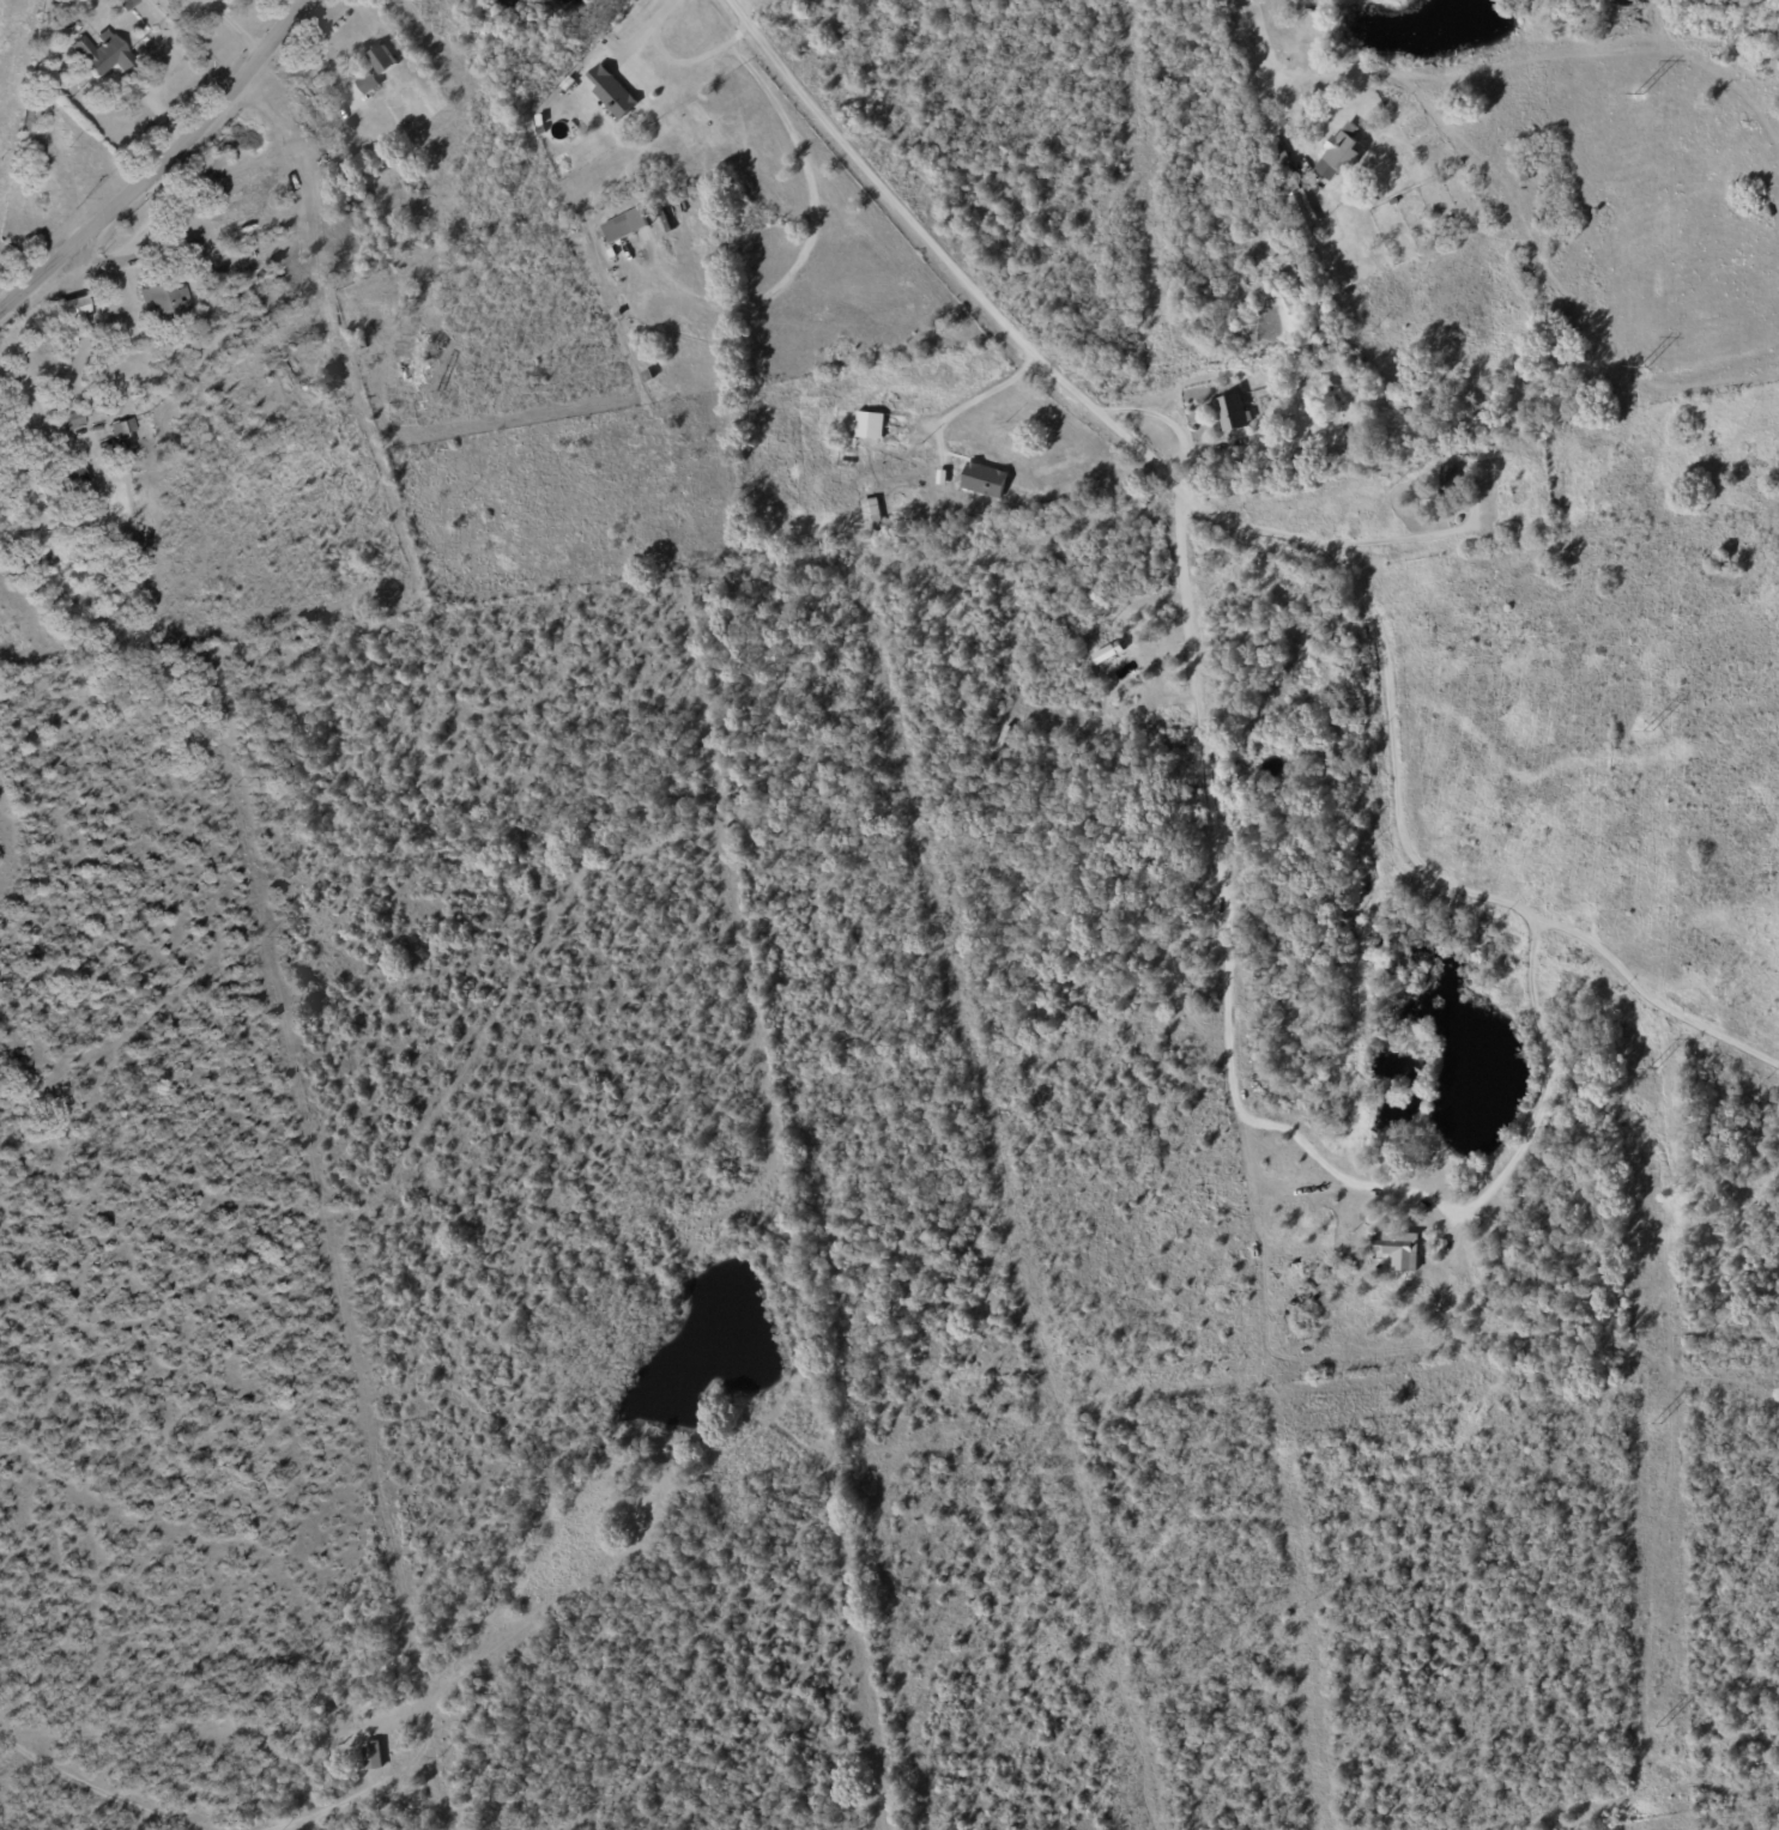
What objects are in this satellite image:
building: (125, 4)
road: (642, 26)
building: (101, 54)
road: (1270, 66)
building: (377, 69)
building: (612, 92)
power tower: (1636, 93)
building: (1341, 152)
road: (163, 164)
building: (1302, 211)
building: (624, 225)
building: (332, 230)
road: (927, 244)
building: (164, 301)
road: (1, 308)
building: (72, 315)
building: (416, 357)
power tower: (1640, 368)
road: (18, 390)
road: (974, 400)
building: (1234, 414)
building: (75, 417)
building: (869, 425)
building: (122, 426)
building: (73, 478)
building: (1448, 479)
building: (985, 480)
building: (870, 509)
road: (1233, 526)
road: (1404, 543)
power tower: (1645, 731)
road: (1484, 902)
road: (1214, 937)
power tower: (1650, 1068)
building: (1399, 1252)
power tower: (1653, 1424)
power tower: (1657, 1727)
building: (371, 1756)
road: (95, 1788)
road: (325, 1808)

